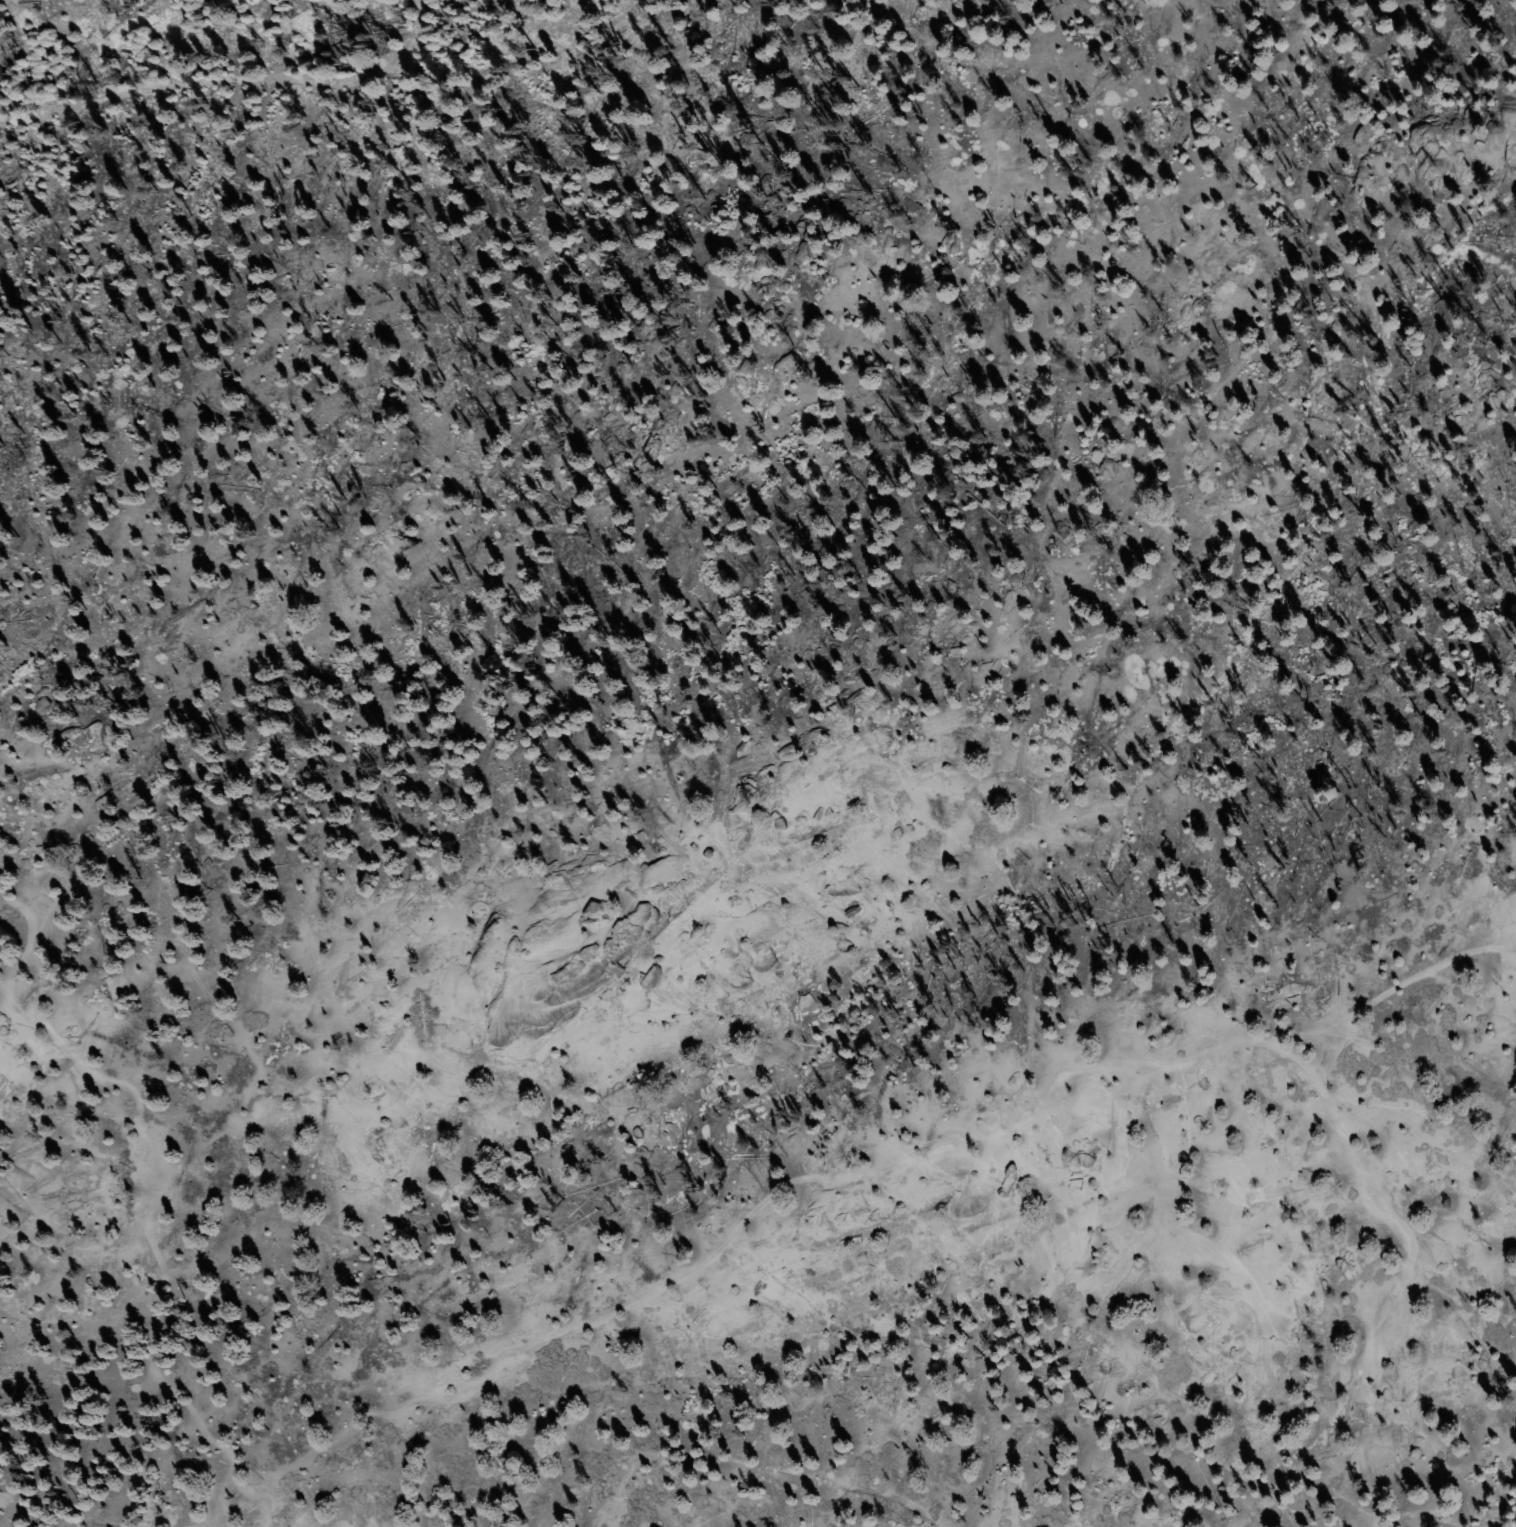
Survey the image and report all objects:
road: (236, 98)
road: (1405, 984)
road: (697, 1269)

